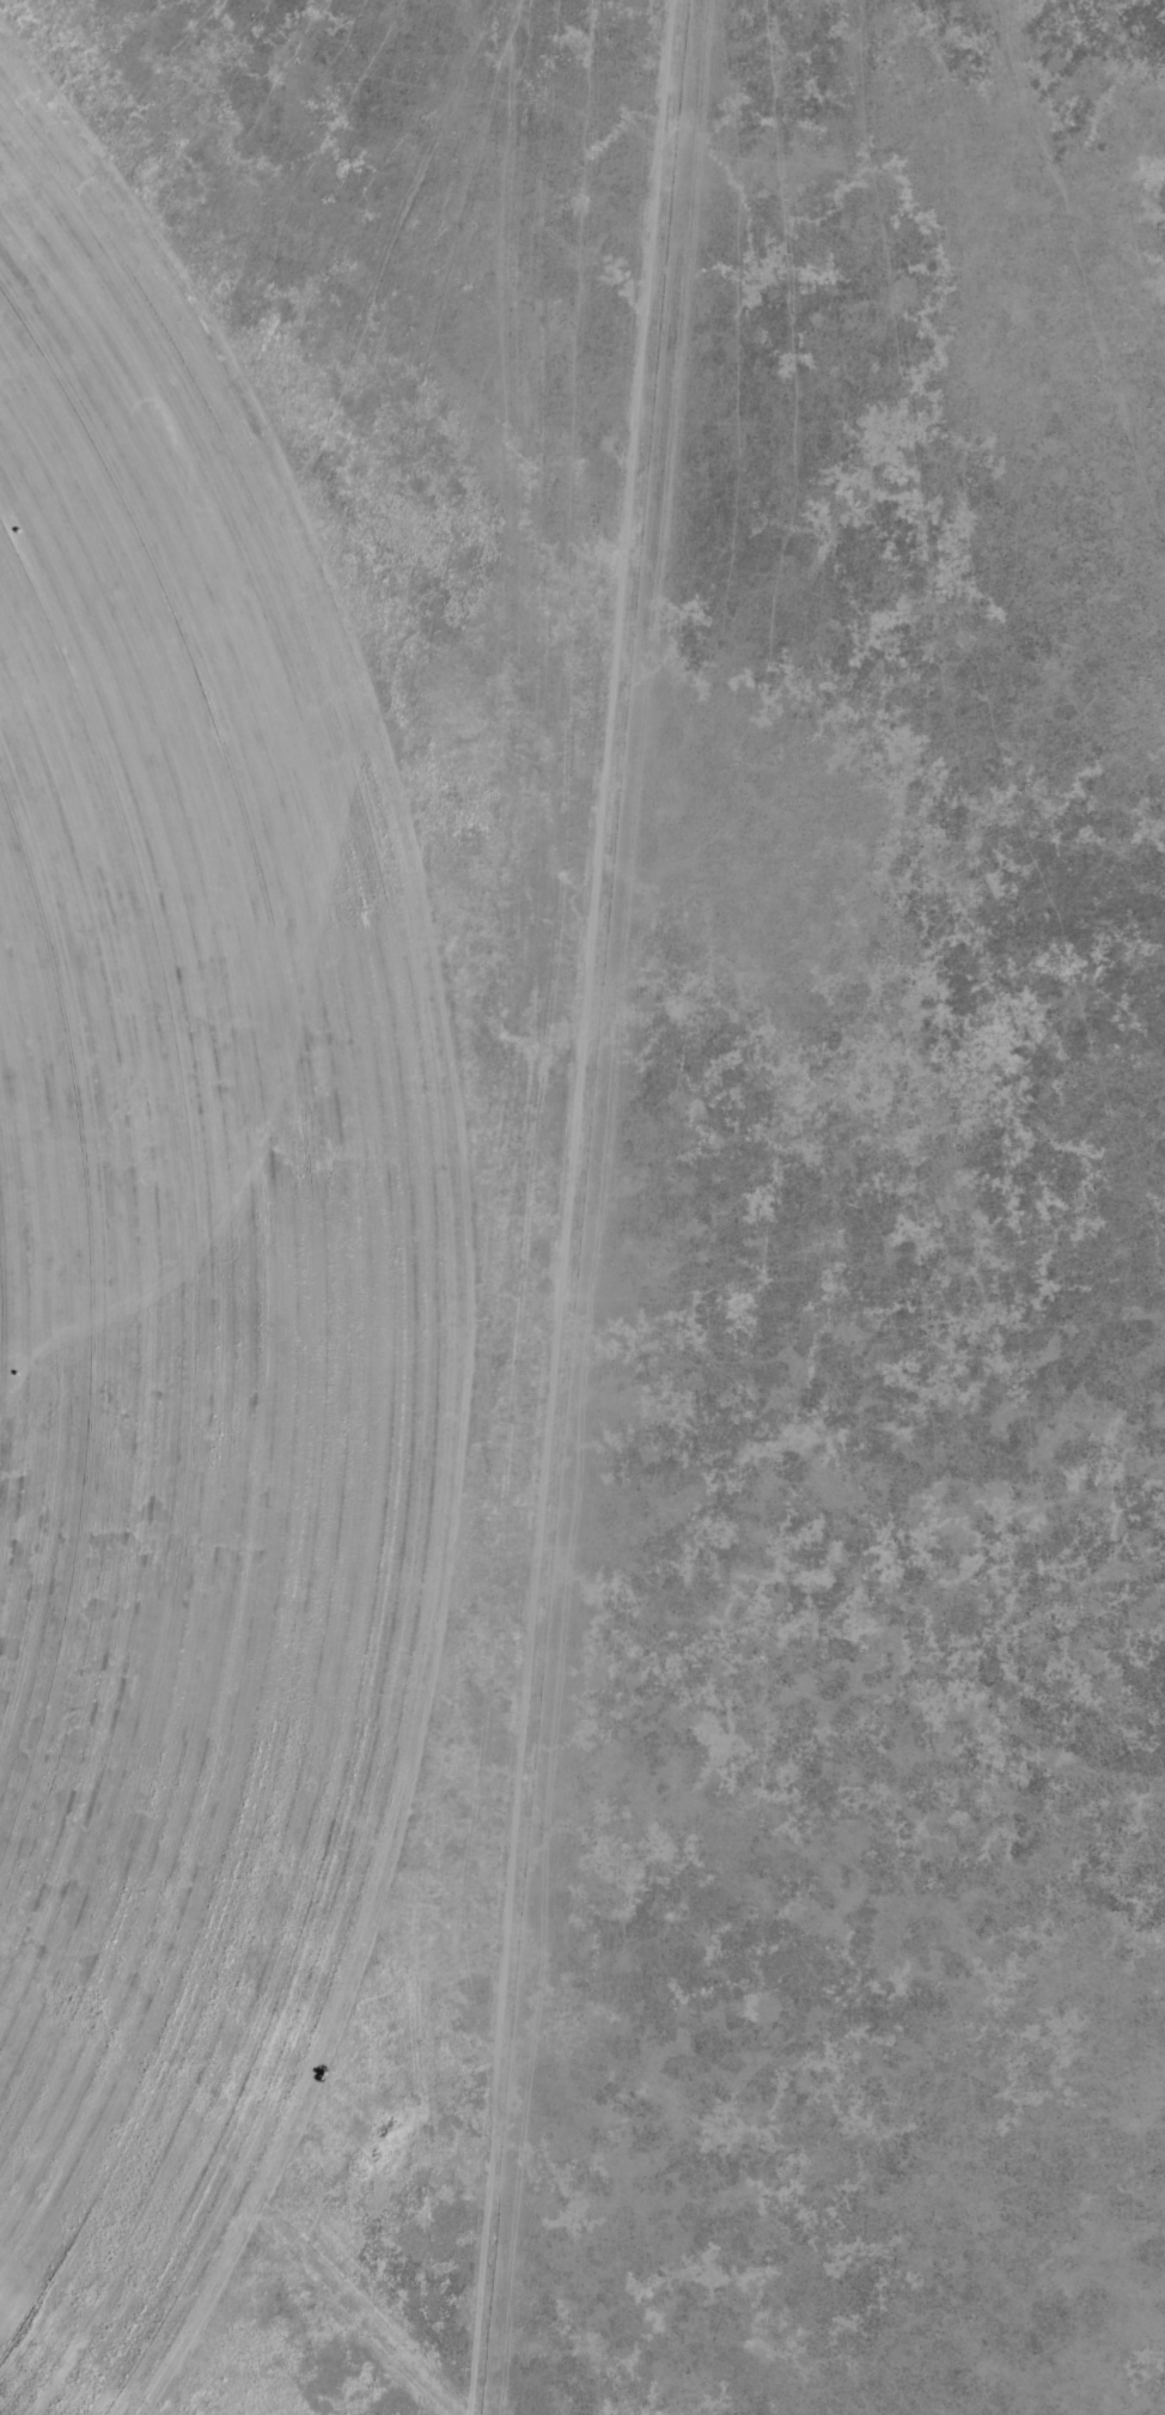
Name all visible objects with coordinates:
crop: (171, 1303)

